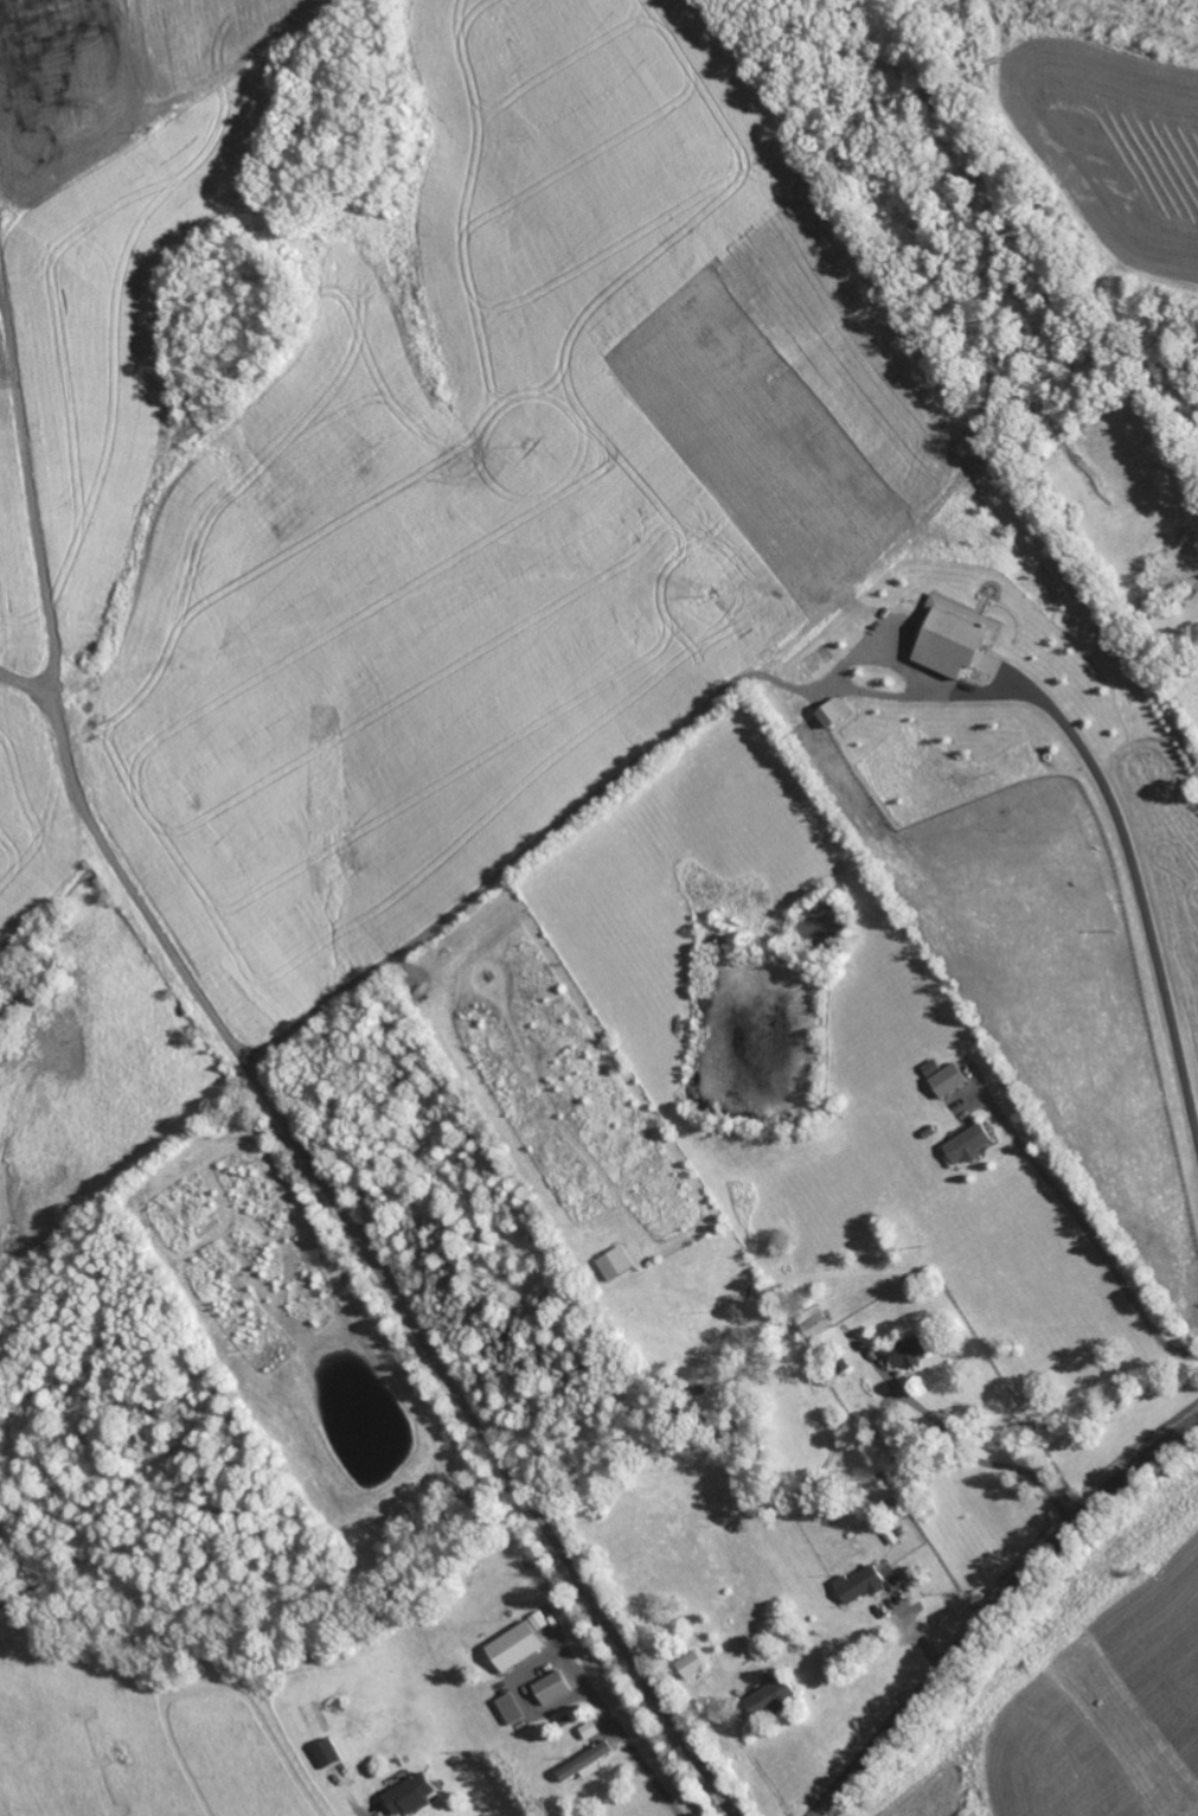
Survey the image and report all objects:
road: (2, 284)
road: (30, 497)
building: (954, 635)
road: (814, 689)
building: (833, 711)
building: (947, 1080)
building: (968, 1144)
road: (1095, 1240)
road: (363, 1242)
building: (615, 1262)
building: (813, 1322)
building: (906, 1351)
road: (979, 1464)
building: (859, 1582)
road: (995, 1610)
building: (517, 1642)
building: (690, 1663)
building: (550, 1686)
building: (769, 1696)
building: (510, 1707)
building: (588, 1728)
road: (624, 1738)
building: (326, 1751)
building: (583, 1761)
road: (763, 1773)
building: (409, 1792)

